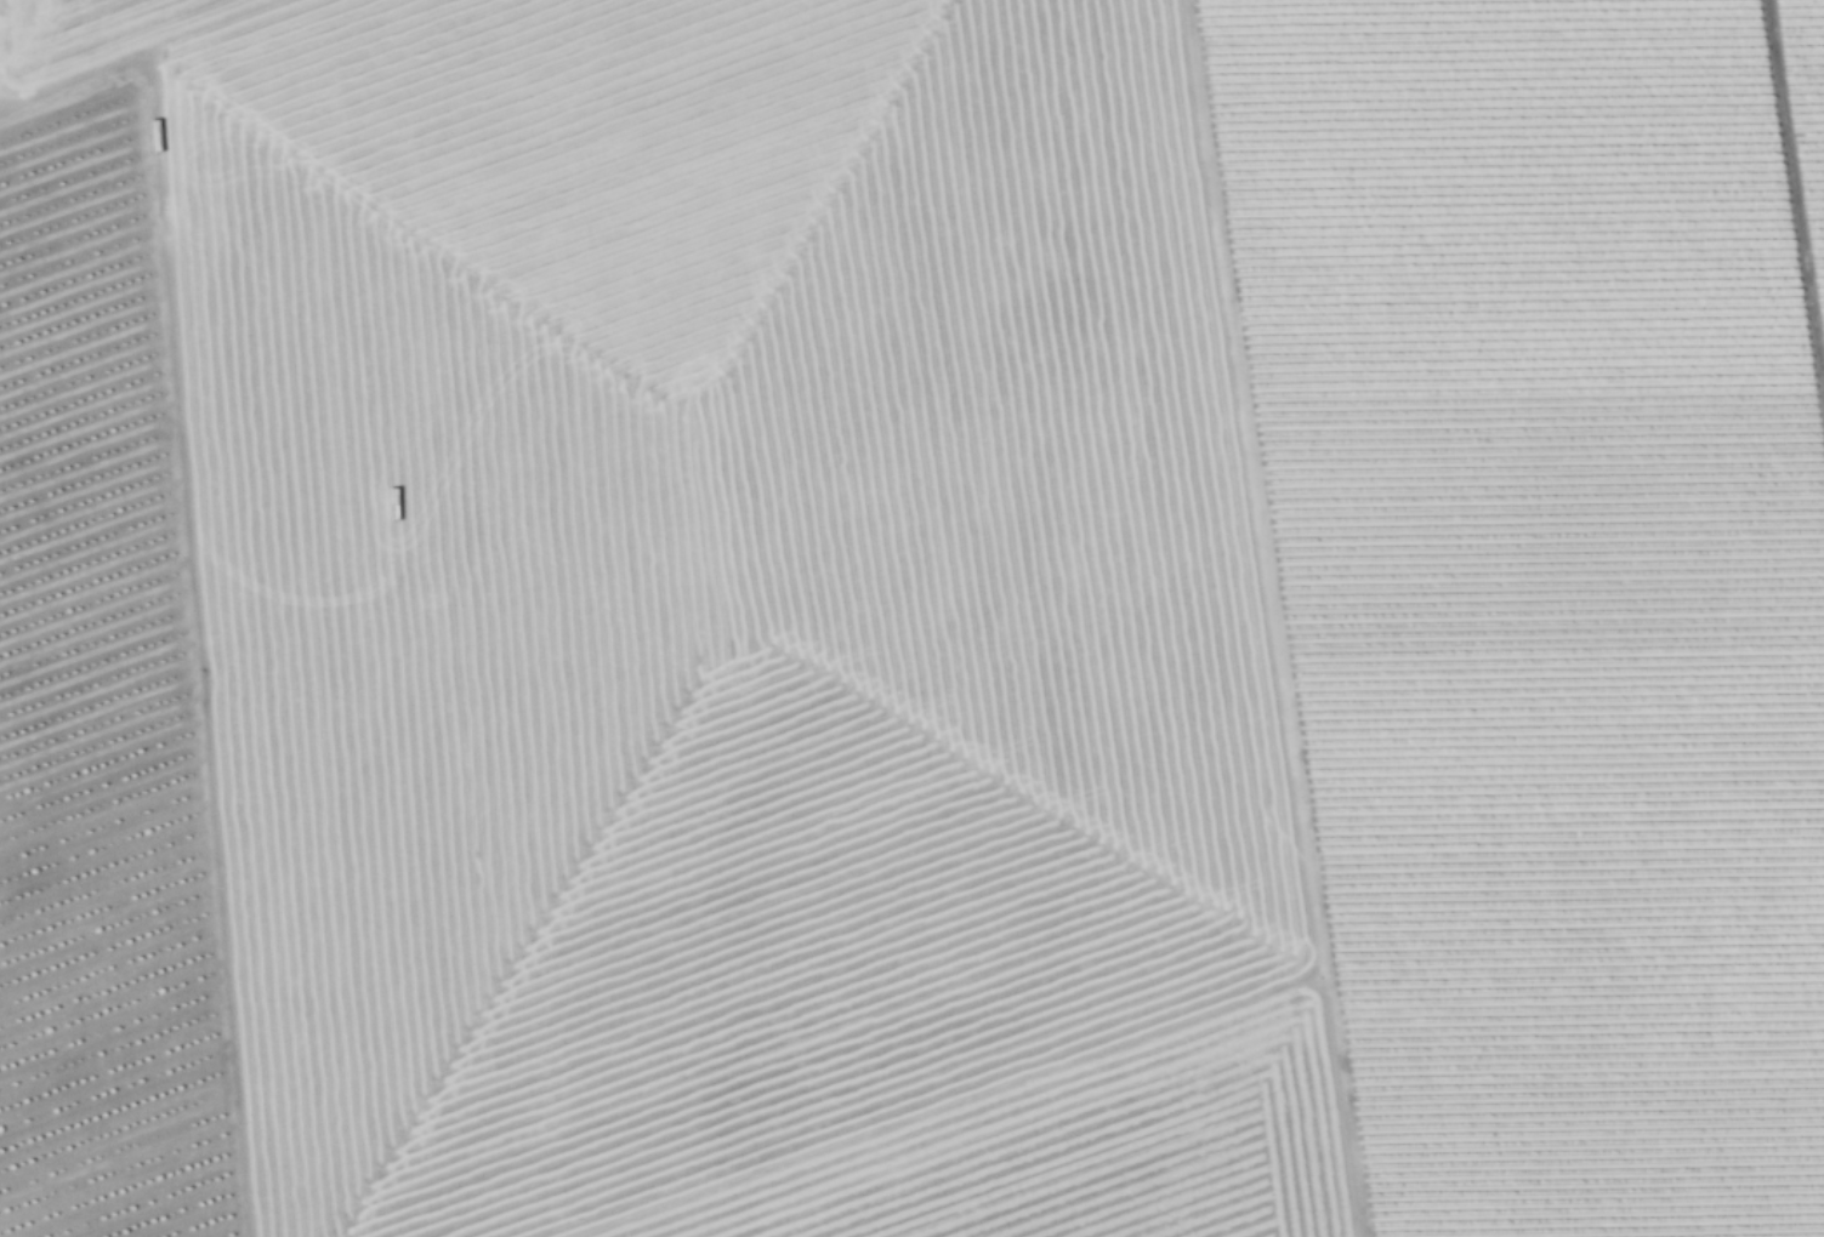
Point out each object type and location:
road: (1794, 201)
crop: (996, 608)
road: (1271, 618)

